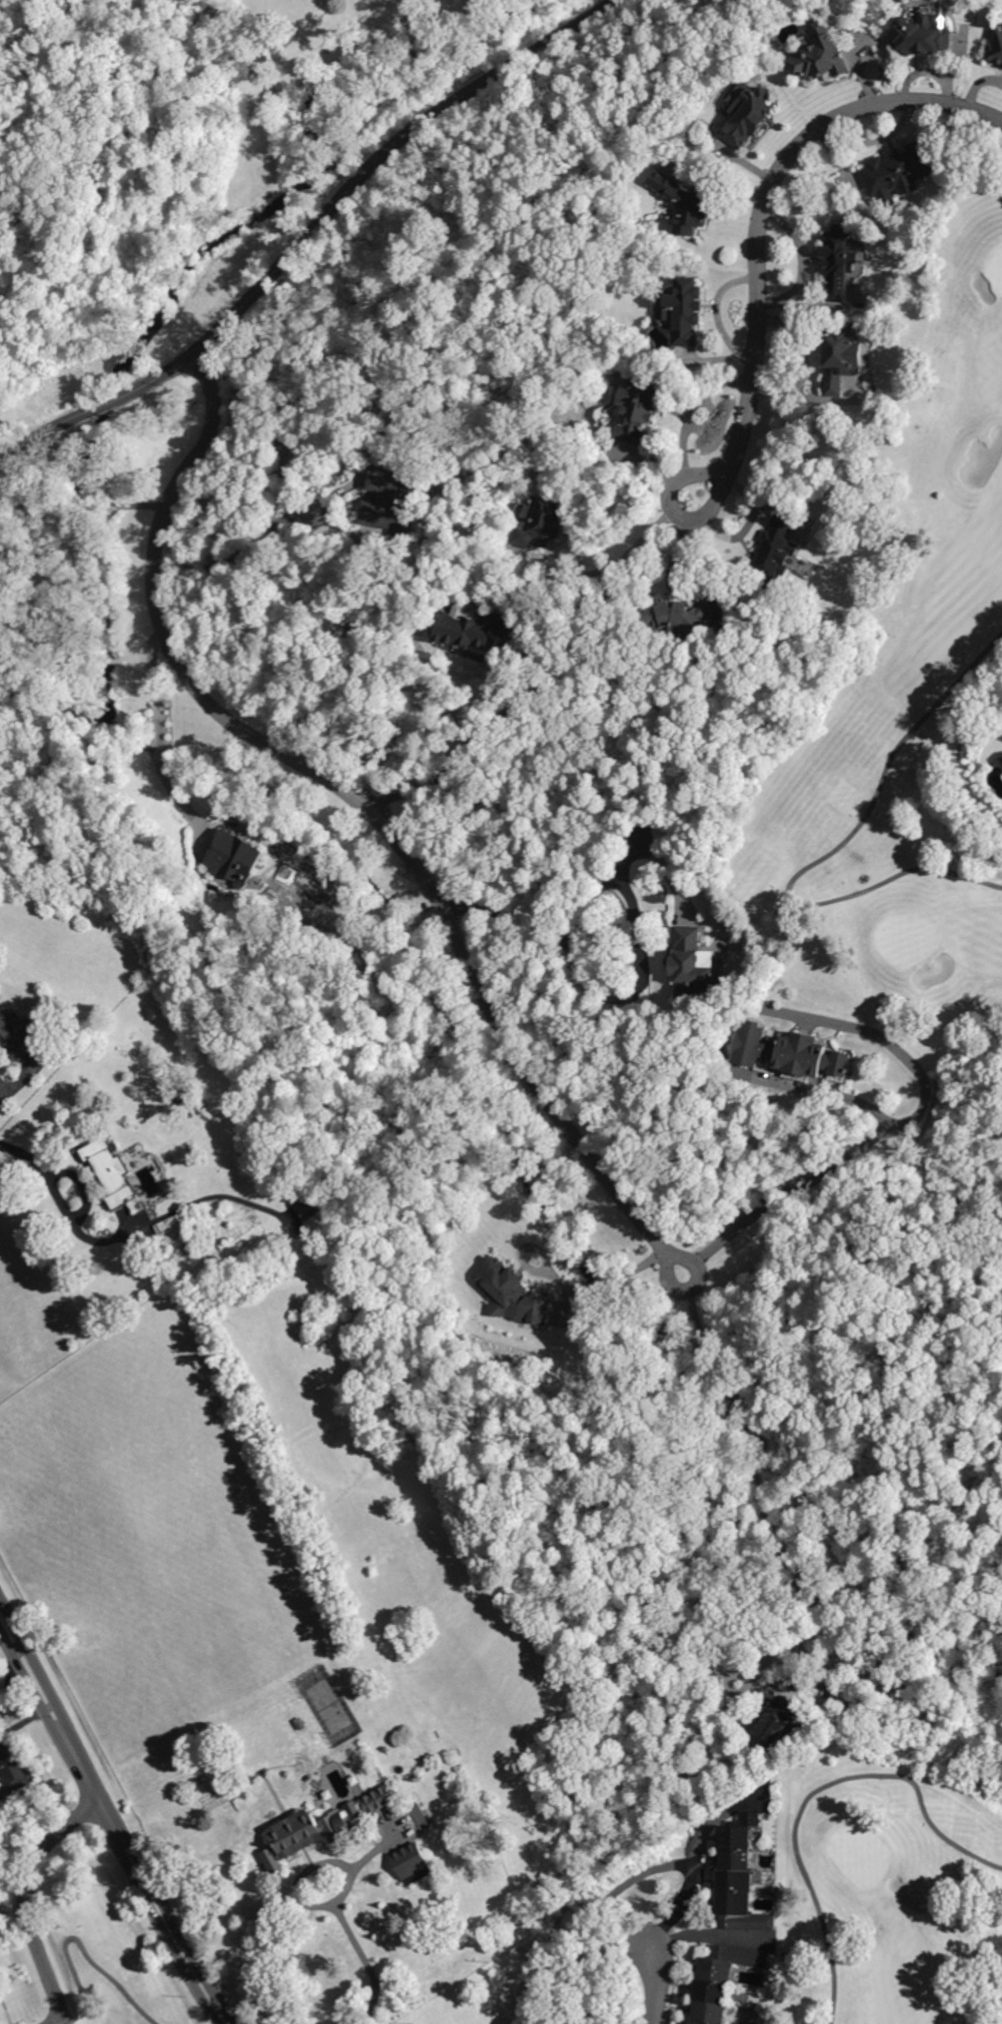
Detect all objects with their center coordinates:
building: (922, 35)
building: (996, 49)
building: (821, 57)
building: (750, 116)
building: (897, 172)
building: (684, 204)
road: (762, 218)
road: (309, 233)
building: (838, 262)
building: (685, 310)
road: (717, 311)
building: (840, 355)
building: (637, 410)
building: (390, 503)
building: (541, 523)
building: (775, 551)
road: (230, 555)
road: (621, 557)
building: (684, 616)
building: (465, 628)
road: (472, 736)
road: (161, 737)
road: (364, 807)
road: (824, 855)
building: (236, 859)
road: (587, 919)
building: (17, 961)
building: (694, 967)
building: (14, 1035)
building: (789, 1051)
road: (18, 1082)
road: (5, 1085)
park: (529, 1143)
road: (848, 1158)
building: (111, 1169)
building: (312, 1213)
road: (128, 1231)
road: (609, 1277)
building: (513, 1293)
building: (391, 1347)
road: (806, 1508)
building: (779, 1720)
building: (301, 1724)
building: (15, 1769)
building: (355, 1781)
building: (328, 1796)
road: (811, 1796)
road: (115, 1812)
building: (421, 1817)
road: (108, 1826)
building: (320, 1827)
building: (742, 1832)
building: (737, 1860)
building: (412, 1864)
road: (696, 1867)
building: (737, 1881)
road: (29, 1897)
building: (737, 1902)
building: (748, 1921)
road: (344, 1924)
road: (83, 1947)
building: (730, 1962)
road: (659, 1984)
building: (712, 1992)
building: (711, 2012)
building: (698, 2023)

